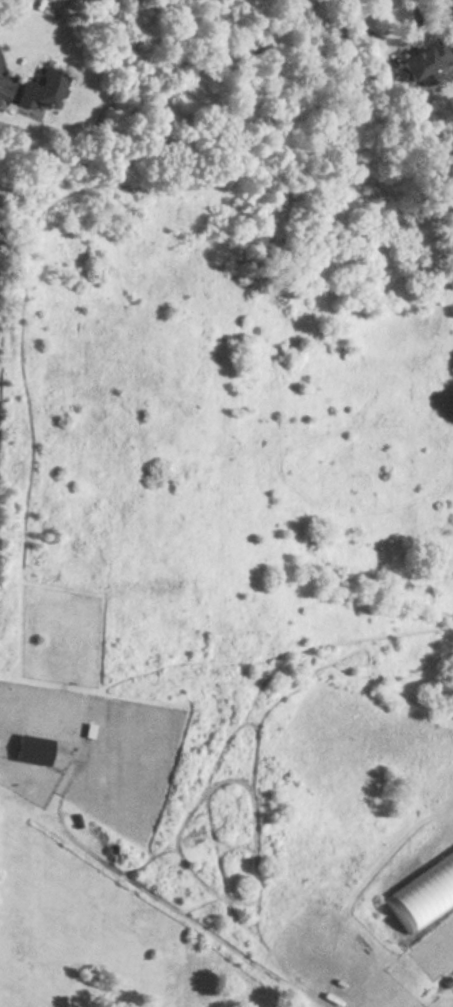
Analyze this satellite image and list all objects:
road: (386, 39)
building: (424, 66)
building: (42, 88)
building: (32, 749)
building: (423, 893)

